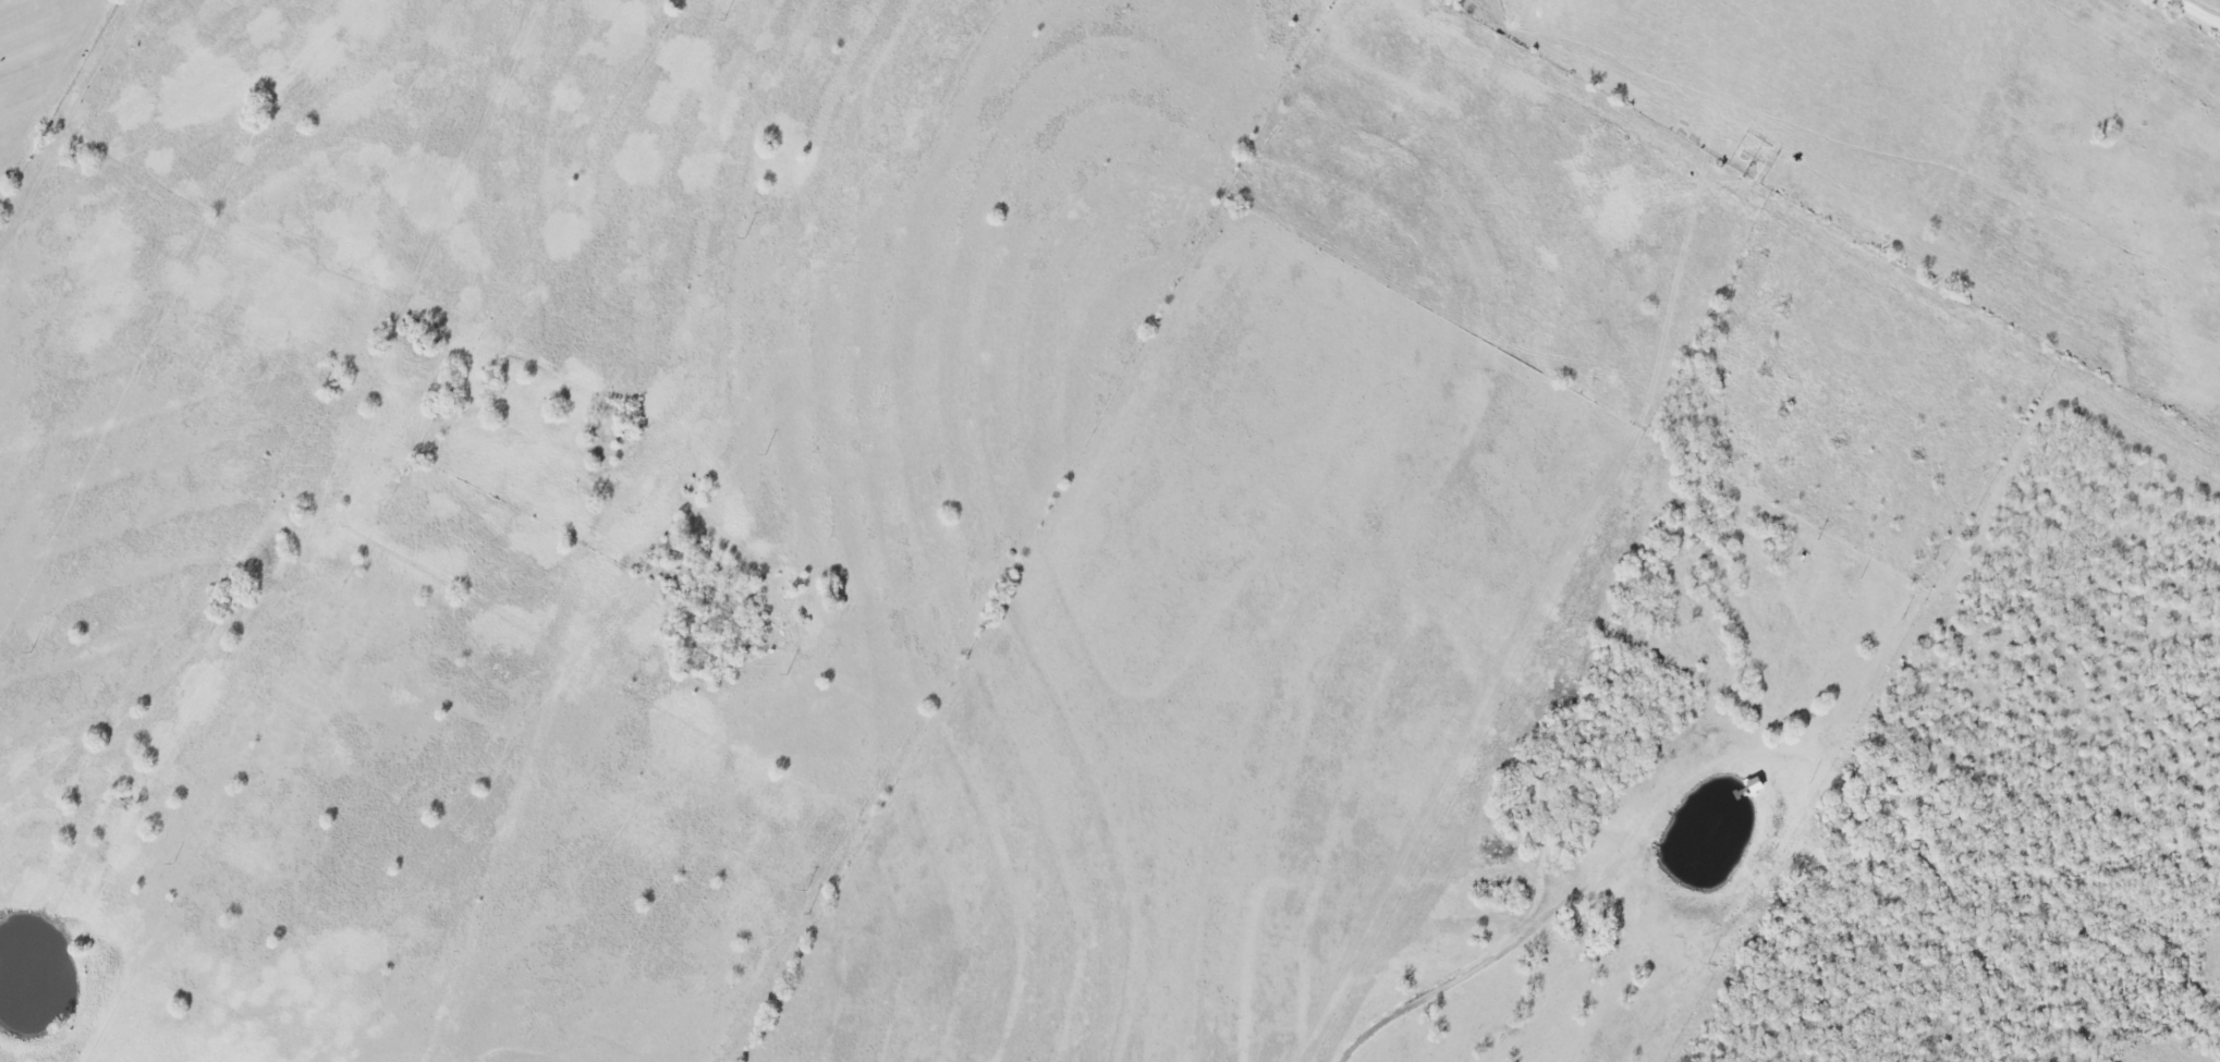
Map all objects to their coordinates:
road: (2203, 9)

